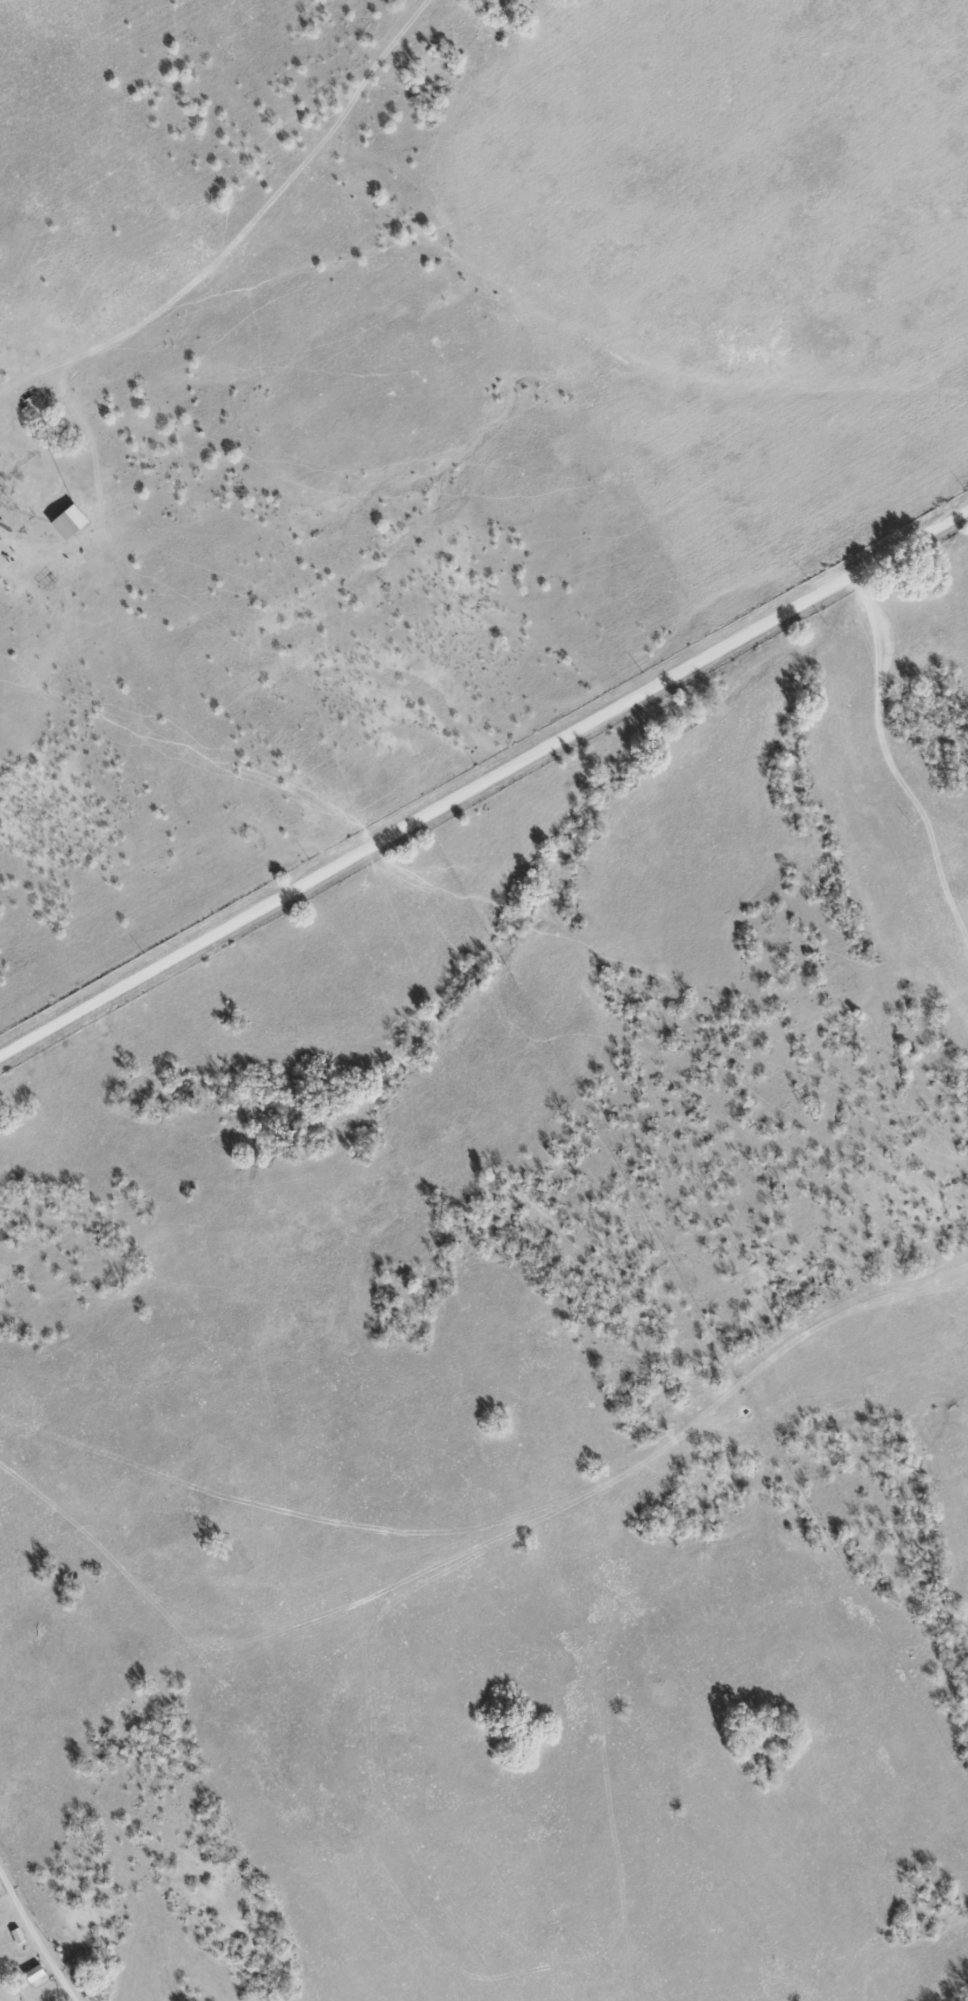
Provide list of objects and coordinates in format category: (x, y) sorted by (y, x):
road: (482, 780)
road: (33, 1940)

